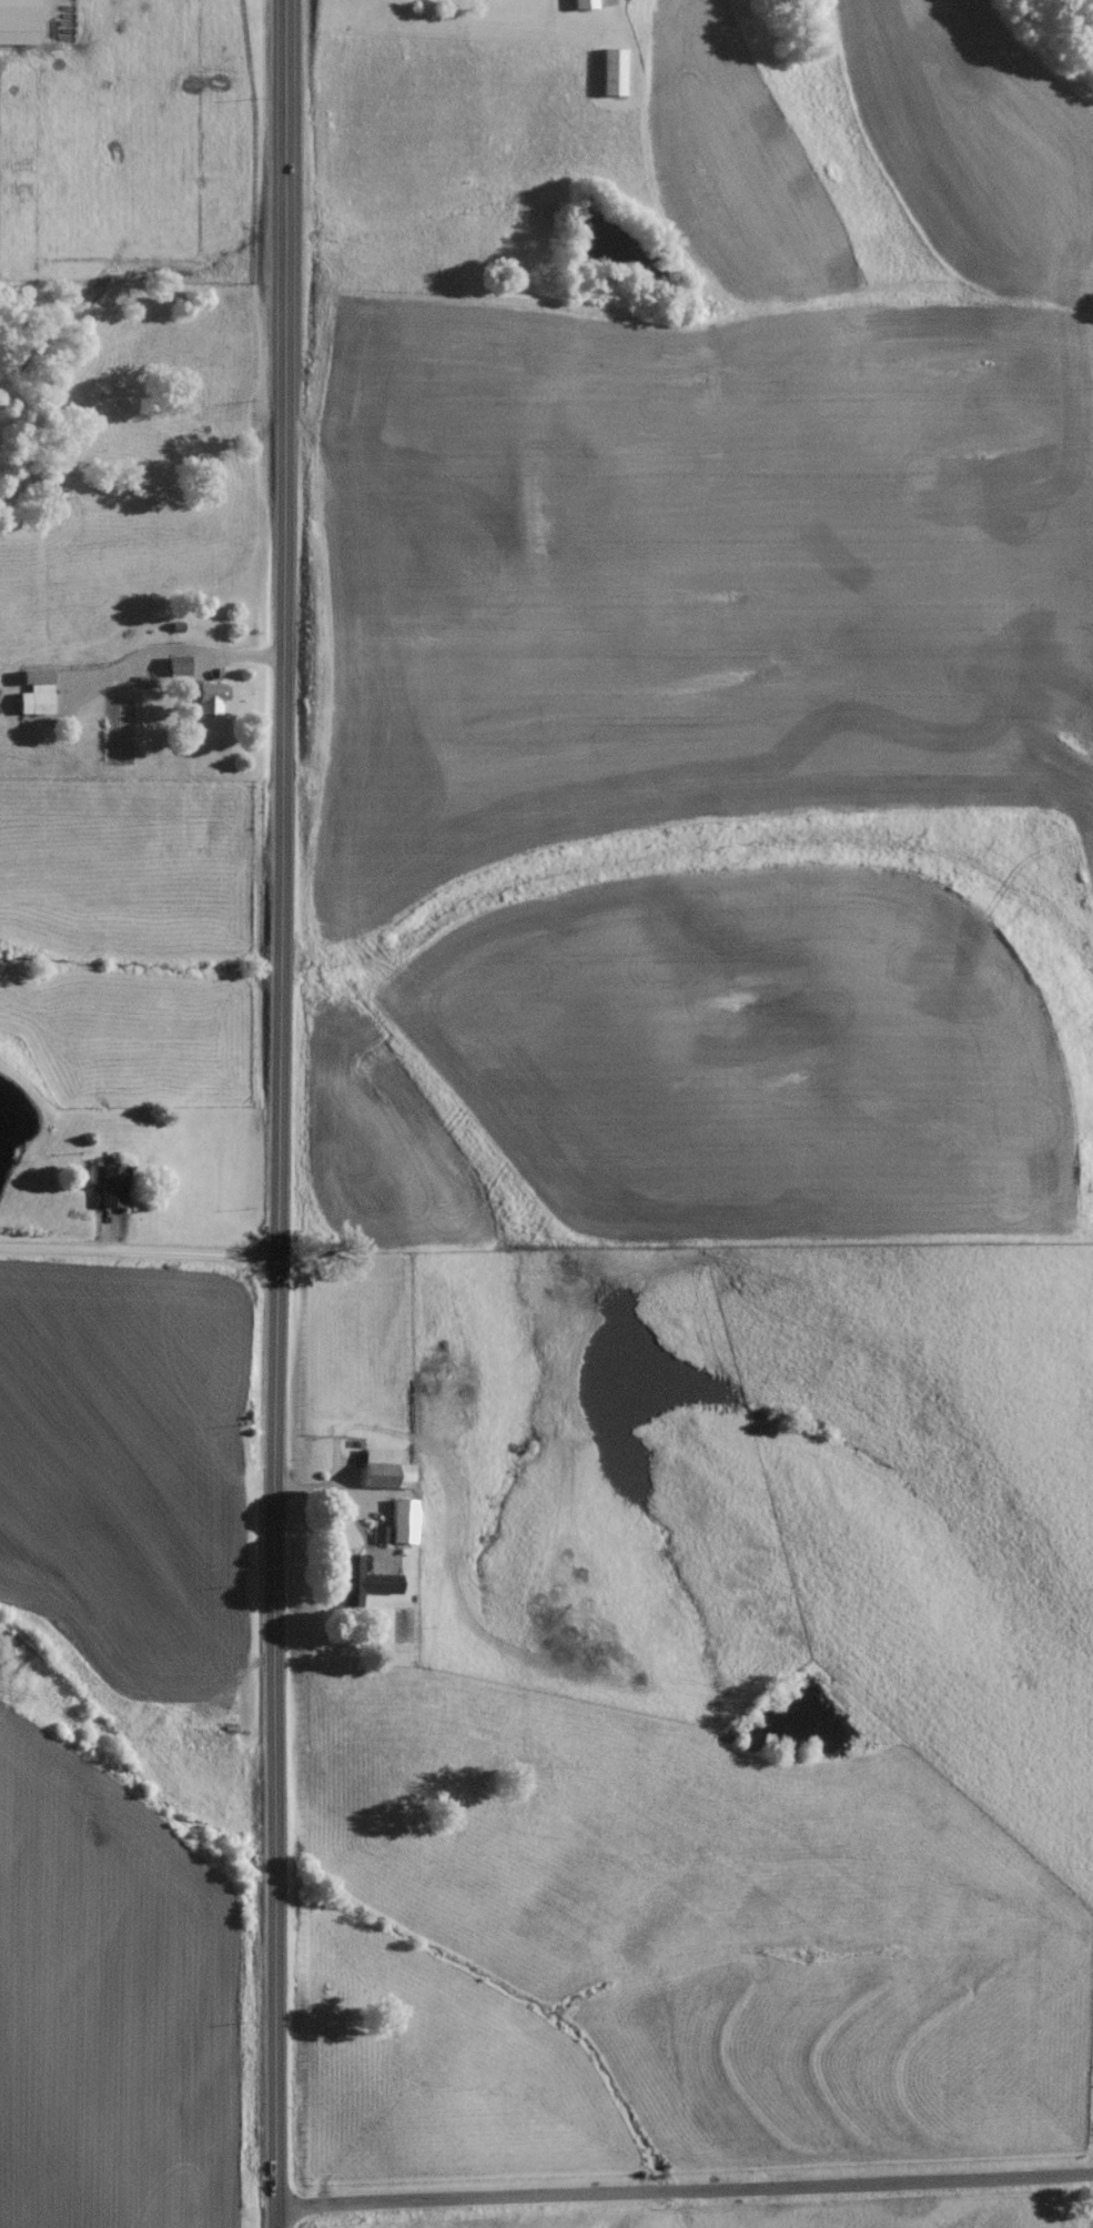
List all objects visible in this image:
building: (580, 8)
building: (16, 26)
building: (608, 78)
road: (172, 652)
building: (174, 673)
building: (32, 704)
building: (204, 705)
road: (282, 1113)
building: (105, 1192)
road: (140, 1246)
building: (379, 1474)
building: (398, 1525)
building: (356, 1587)
park: (1090, 2069)
road: (685, 2185)

